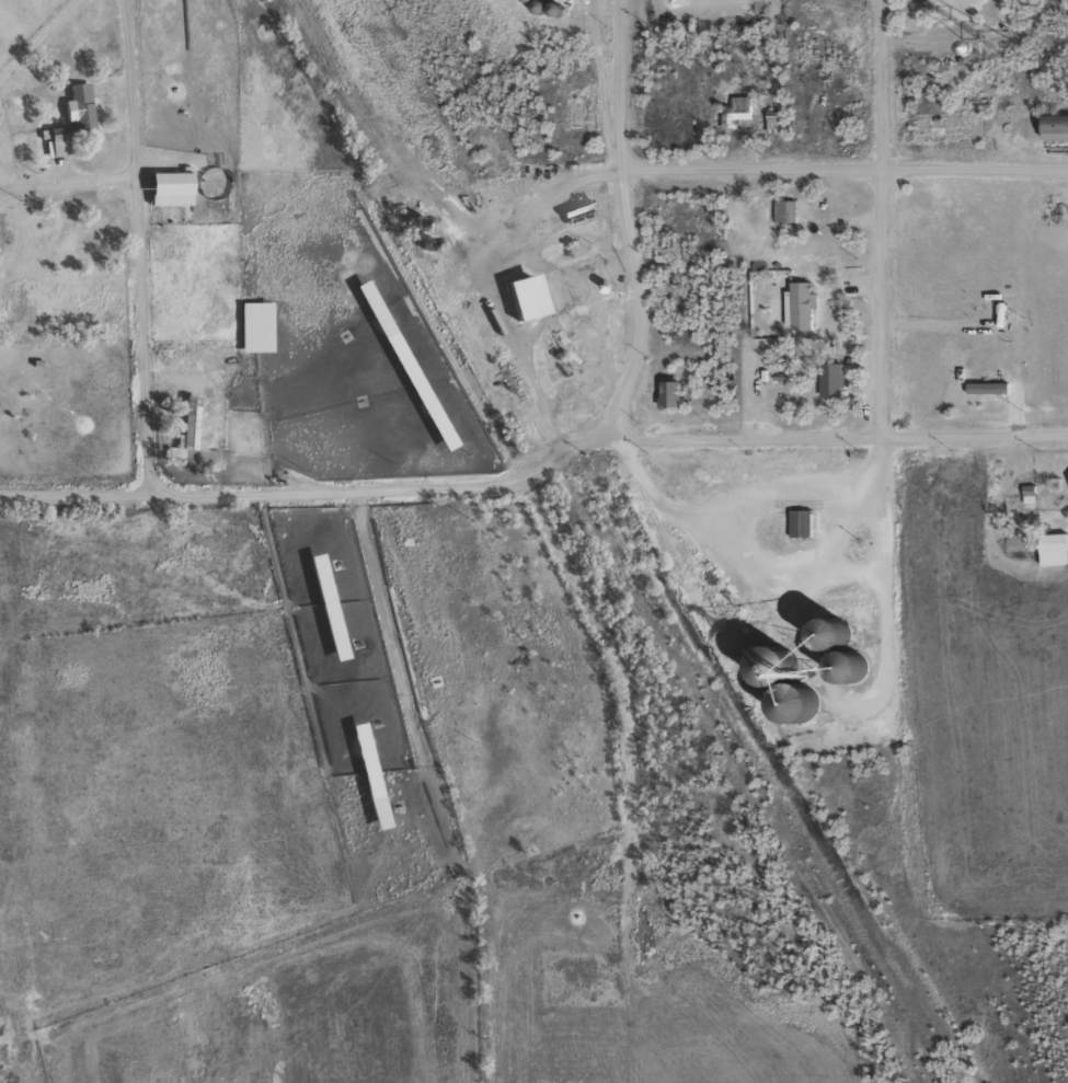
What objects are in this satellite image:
building: (1030, 13)
water tower: (1029, 18)
building: (88, 105)
building: (738, 108)
building: (778, 114)
building: (1059, 119)
building: (768, 122)
building: (55, 141)
road: (843, 170)
building: (177, 186)
building: (792, 208)
building: (780, 210)
road: (875, 218)
road: (622, 219)
building: (566, 244)
building: (84, 246)
road: (140, 249)
building: (536, 293)
building: (807, 301)
building: (793, 306)
building: (262, 325)
building: (414, 361)
building: (834, 371)
building: (826, 379)
building: (992, 387)
building: (676, 390)
building: (664, 394)
building: (185, 424)
building: (197, 424)
road: (731, 436)
road: (972, 437)
road: (549, 461)
road: (489, 484)
building: (1024, 494)
road: (234, 496)
building: (802, 522)
railway: (604, 542)
building: (1055, 546)
road: (382, 606)
building: (847, 619)
silo: (847, 619)
building: (830, 633)
building: (792, 650)
silo: (792, 650)
building: (866, 653)
silo: (866, 653)
building: (769, 666)
building: (842, 670)
building: (815, 690)
silo: (815, 690)

